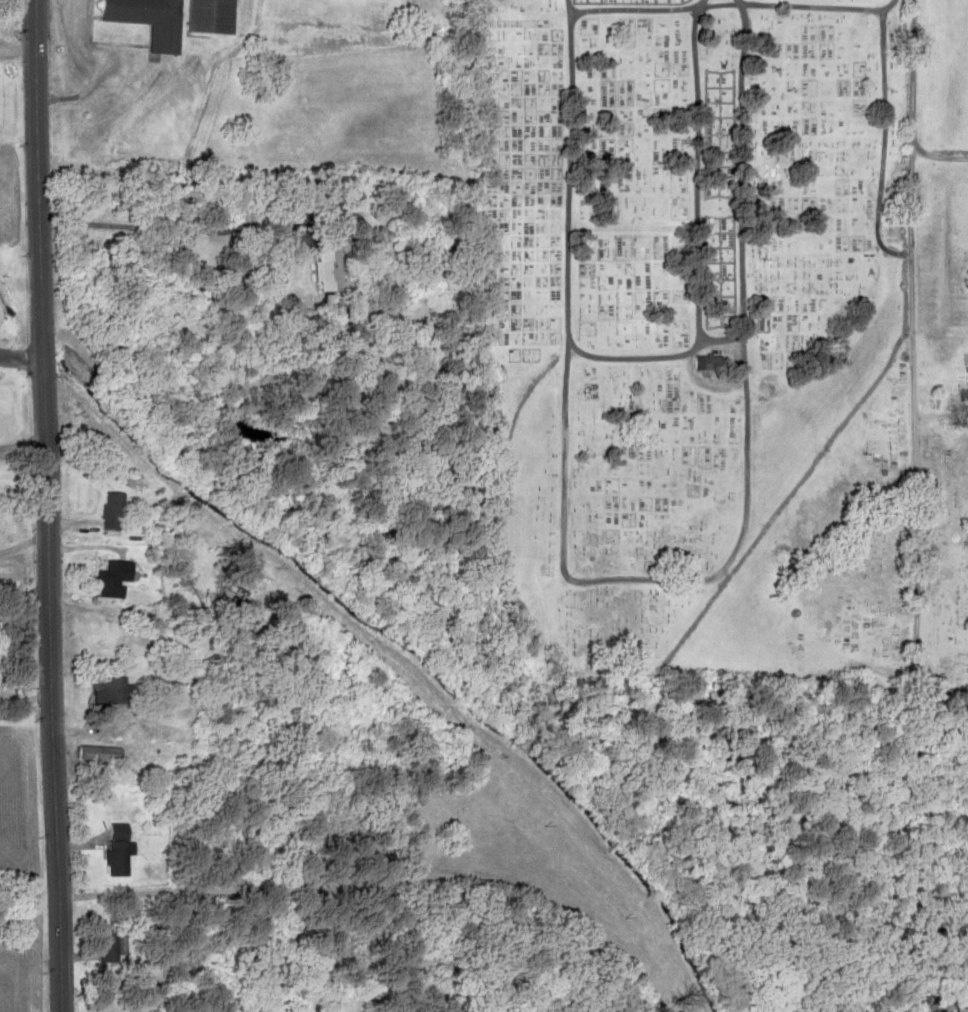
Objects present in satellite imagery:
road: (815, 5)
road: (636, 8)
building: (213, 16)
building: (150, 20)
road: (910, 71)
road: (936, 155)
road: (566, 167)
road: (698, 172)
building: (328, 268)
park: (723, 334)
road: (20, 352)
road: (630, 354)
building: (705, 361)
road: (938, 413)
road: (909, 423)
road: (740, 487)
road: (47, 505)
building: (116, 510)
building: (120, 578)
road: (145, 611)
building: (116, 691)
building: (104, 756)
building: (122, 848)
building: (114, 944)
railway: (941, 978)

